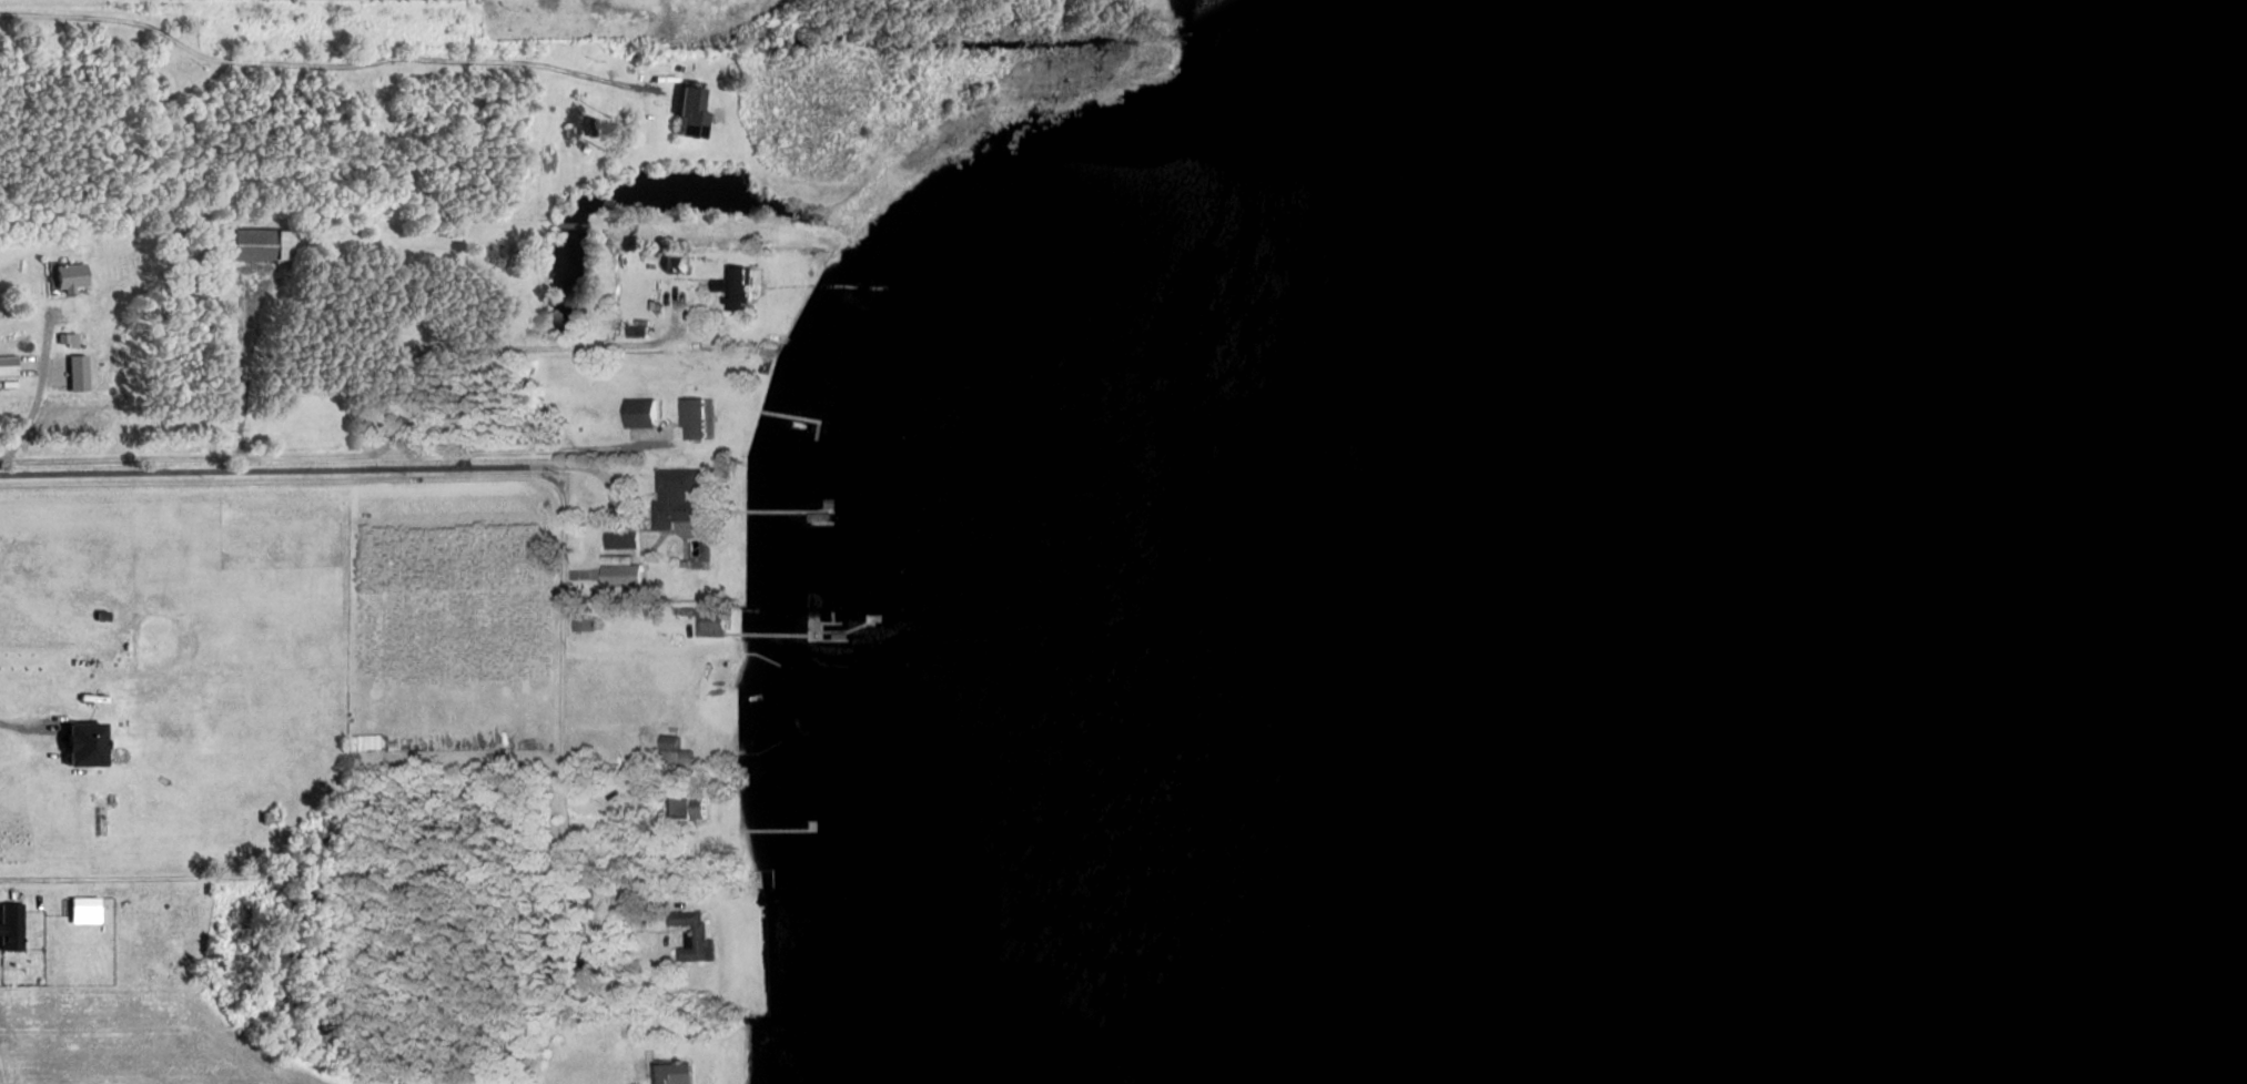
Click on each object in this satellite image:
road: (324, 67)
building: (691, 112)
building: (591, 125)
building: (260, 245)
building: (677, 263)
building: (67, 269)
building: (739, 288)
building: (638, 331)
road: (498, 351)
road: (40, 394)
building: (639, 415)
building: (696, 418)
road: (333, 458)
road: (330, 470)
road: (463, 480)
building: (679, 497)
building: (623, 559)
building: (712, 621)
building: (585, 622)
road: (29, 729)
building: (82, 746)
building: (678, 751)
building: (747, 759)
building: (689, 806)
road: (326, 877)
building: (645, 879)
building: (760, 880)
building: (83, 911)
building: (10, 929)
building: (695, 935)
building: (630, 1027)
building: (675, 1073)

